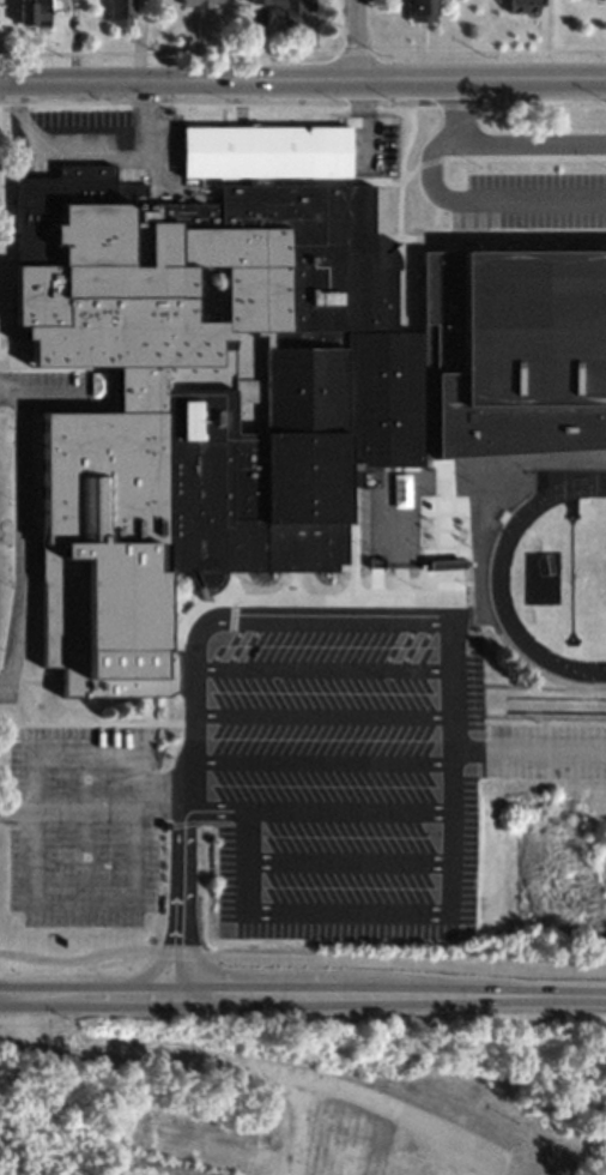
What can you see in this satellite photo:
building: (259, 1)
building: (204, 2)
building: (522, 6)
building: (290, 8)
building: (422, 10)
building: (121, 11)
building: (35, 13)
road: (356, 41)
road: (303, 82)
road: (302, 103)
road: (368, 121)
building: (96, 123)
road: (527, 138)
parking lot: (374, 146)
street lamp: (478, 162)
street lamp: (601, 162)
road: (461, 195)
parking lot: (529, 197)
building: (248, 378)
parking lot: (56, 387)
road: (11, 390)
road: (23, 501)
road: (405, 550)
track: (498, 570)
park: (596, 576)
road: (320, 665)
street lamp: (278, 679)
street lamp: (387, 679)
road: (189, 686)
road: (319, 711)
parking lot: (353, 742)
road: (527, 746)
road: (319, 759)
road: (224, 807)
parking lot: (81, 820)
street lamp: (281, 821)
road: (81, 824)
street lamp: (432, 825)
road: (222, 833)
road: (129, 899)
road: (374, 909)
road: (302, 956)
road: (303, 993)
road: (240, 1071)
road: (299, 1129)
building: (194, 1138)
building: (341, 1153)
building: (406, 1169)
building: (135, 1171)
road: (474, 1171)

